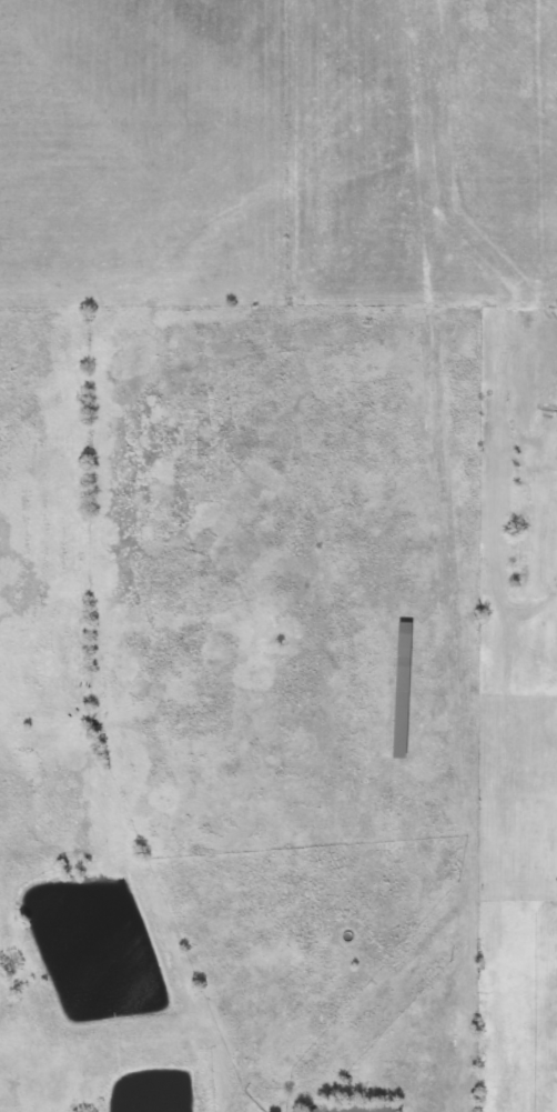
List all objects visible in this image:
building: (525, 515)
building: (403, 691)
building: (362, 1106)

